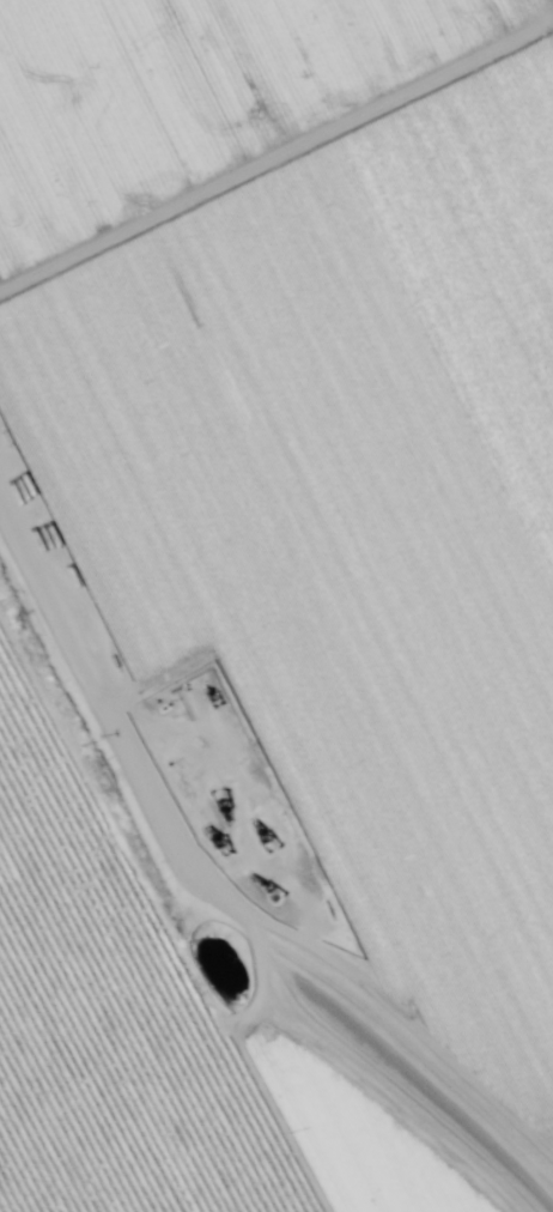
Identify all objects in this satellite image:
crop: (276, 606)
road: (220, 844)

